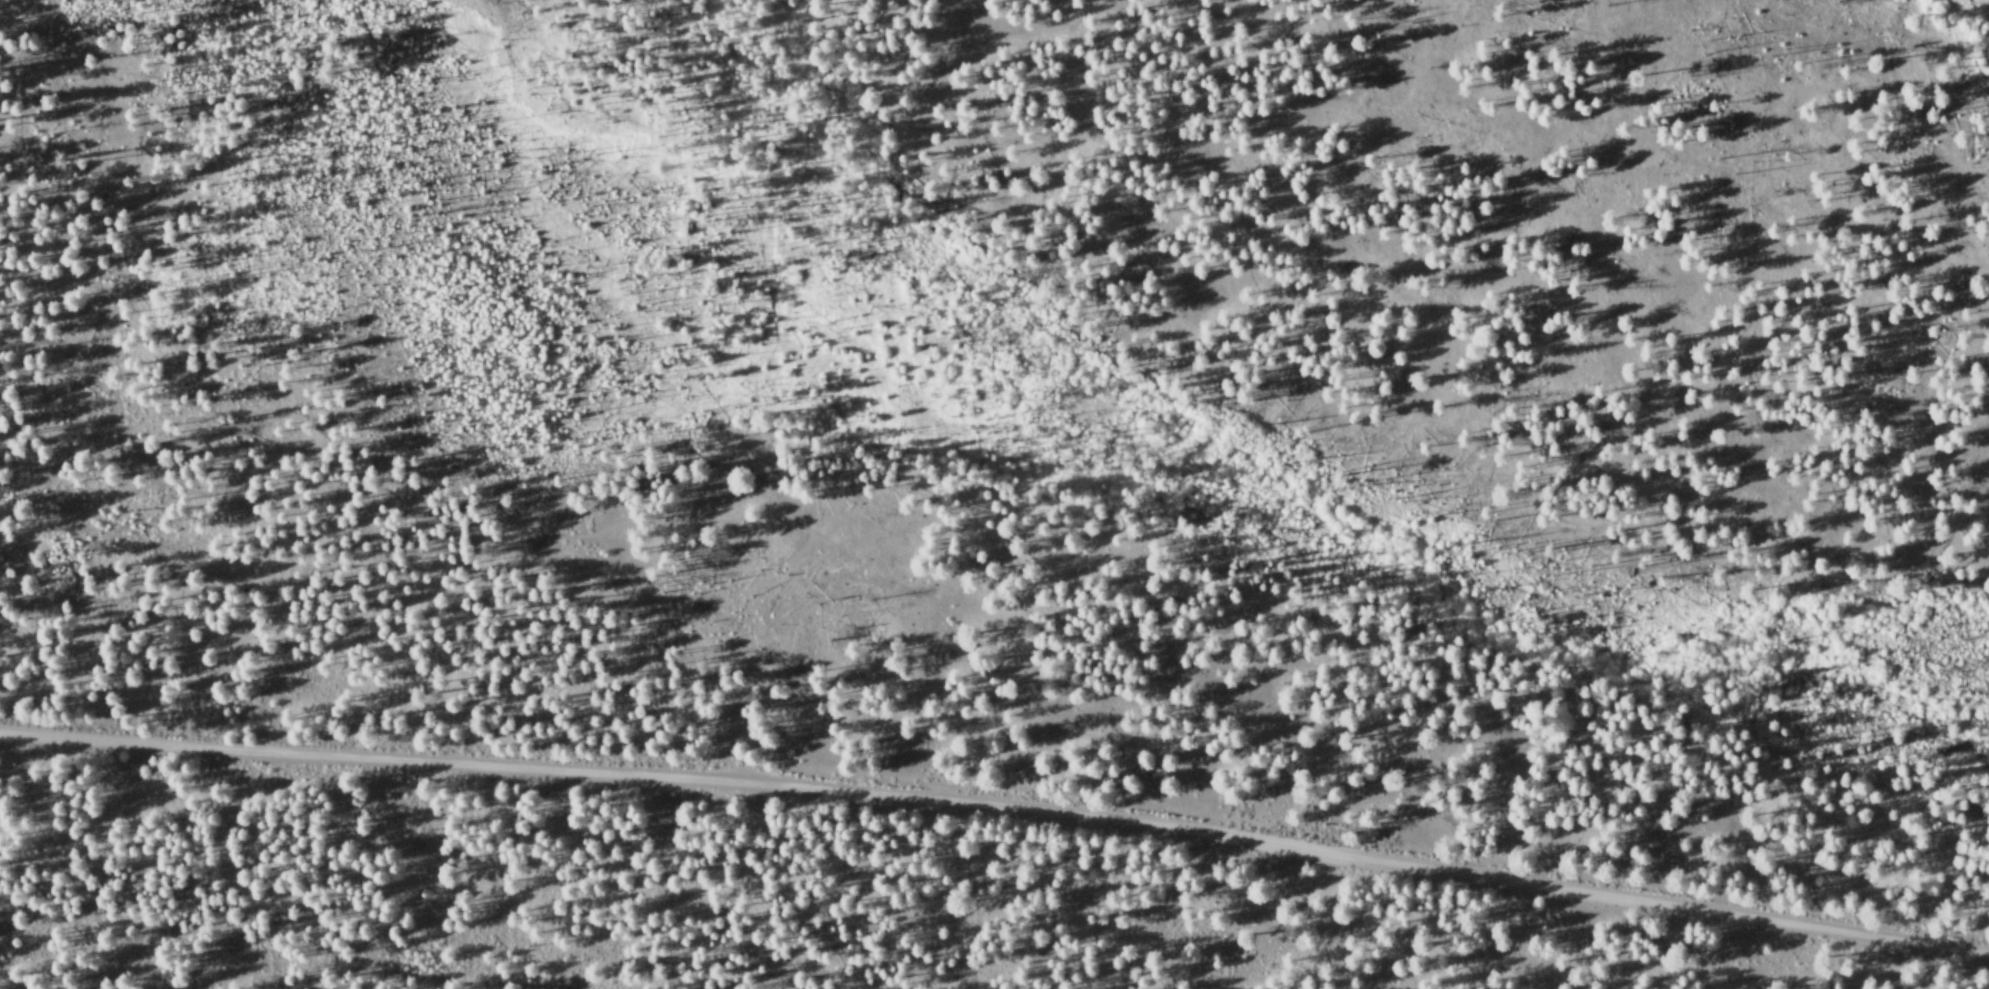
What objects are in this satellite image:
road: (998, 805)
road: (12, 975)

